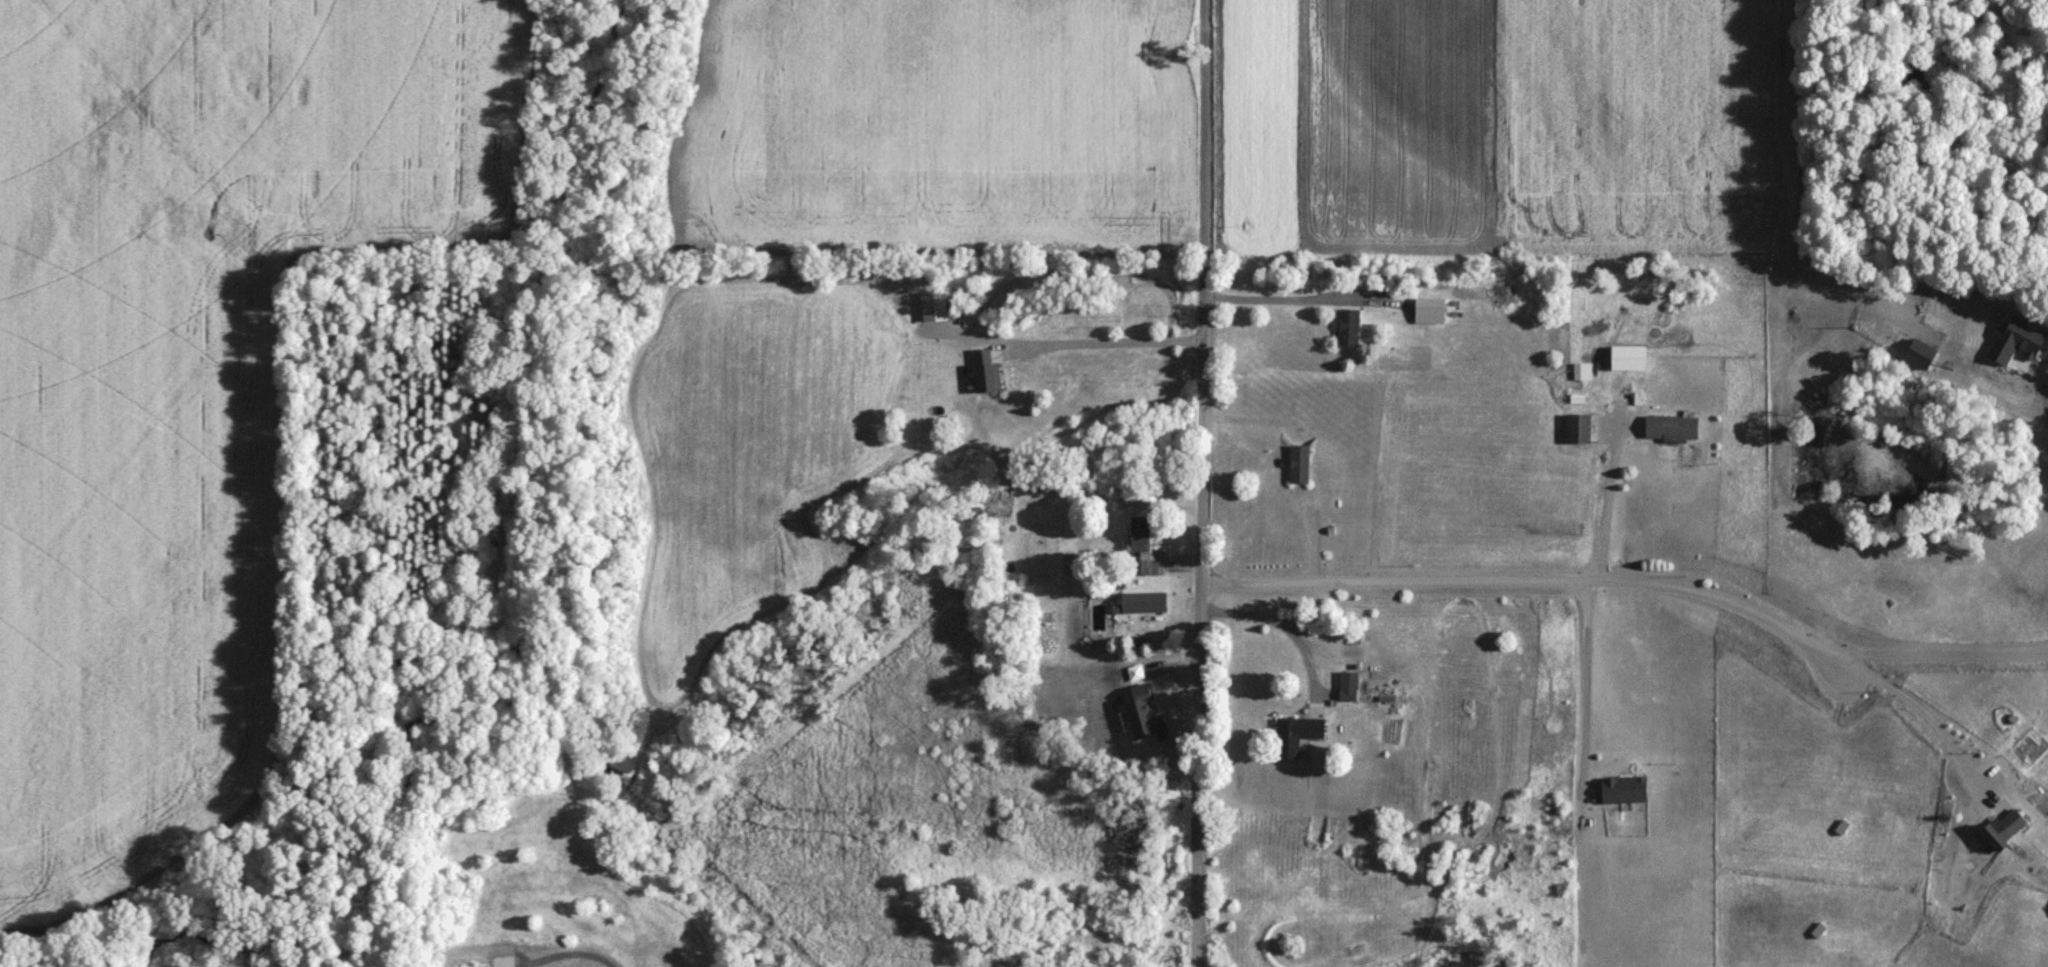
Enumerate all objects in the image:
road: (1291, 305)
building: (1346, 329)
road: (1066, 350)
building: (981, 371)
building: (1577, 372)
road: (2041, 385)
building: (1669, 428)
building: (1575, 430)
building: (1297, 463)
road: (1202, 483)
road: (1605, 502)
building: (988, 503)
building: (1143, 548)
road: (1534, 582)
building: (1141, 603)
road: (1278, 631)
road: (1938, 657)
building: (1346, 687)
road: (1581, 691)
road: (1927, 726)
building: (1293, 731)
building: (1621, 787)
building: (1999, 828)
road: (565, 950)

